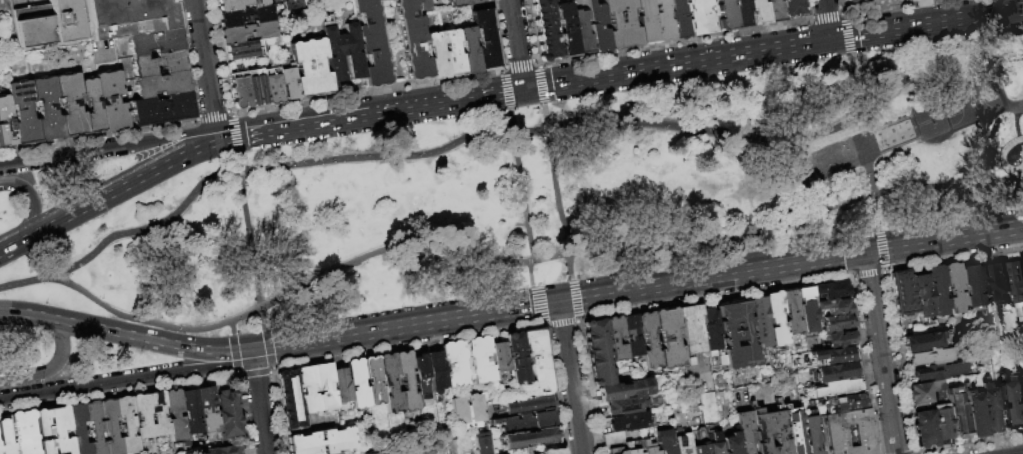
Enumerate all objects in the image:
building: (896, 0)
building: (913, 0)
building: (874, 1)
building: (464, 3)
building: (863, 3)
building: (240, 4)
building: (293, 5)
building: (794, 8)
road: (901, 8)
building: (775, 11)
building: (750, 13)
building: (727, 15)
building: (247, 16)
building: (702, 16)
road: (827, 16)
road: (844, 16)
building: (81, 17)
building: (128, 17)
road: (827, 17)
road: (812, 19)
building: (680, 20)
building: (647, 22)
building: (663, 22)
building: (48, 23)
building: (623, 24)
building: (598, 27)
building: (546, 30)
building: (567, 30)
road: (532, 31)
building: (582, 32)
building: (249, 33)
road: (499, 34)
traffic signals: (830, 36)
road: (848, 38)
building: (414, 40)
building: (153, 41)
building: (487, 41)
road: (685, 41)
building: (374, 43)
road: (515, 44)
road: (772, 44)
building: (246, 50)
building: (470, 52)
building: (345, 53)
building: (453, 54)
road: (220, 55)
building: (437, 56)
road: (186, 60)
road: (538, 63)
building: (156, 64)
road: (520, 65)
road: (934, 65)
road: (205, 67)
building: (312, 68)
road: (504, 70)
building: (290, 82)
building: (159, 84)
road: (856, 85)
road: (999, 85)
building: (274, 86)
road: (542, 86)
building: (257, 87)
traffic signals: (523, 88)
building: (241, 90)
road: (507, 92)
road: (368, 93)
building: (110, 99)
building: (69, 103)
park: (973, 103)
building: (91, 104)
building: (45, 107)
building: (160, 109)
road: (379, 110)
building: (21, 111)
road: (230, 112)
road: (212, 114)
building: (5, 123)
road: (234, 125)
road: (550, 125)
road: (97, 133)
road: (225, 134)
traffic signals: (216, 136)
road: (202, 142)
road: (236, 144)
road: (111, 146)
road: (227, 146)
road: (3, 163)
road: (239, 163)
road: (871, 171)
road: (558, 192)
road: (94, 199)
road: (519, 199)
park: (498, 201)
road: (31, 203)
road: (123, 233)
road: (952, 238)
road: (252, 249)
road: (880, 249)
road: (873, 251)
traffic signals: (865, 252)
road: (952, 259)
road: (529, 260)
road: (866, 263)
road: (867, 274)
building: (1017, 283)
building: (1002, 284)
building: (956, 287)
building: (972, 288)
building: (987, 288)
building: (828, 289)
building: (939, 290)
building: (904, 294)
building: (923, 296)
road: (159, 297)
road: (711, 297)
road: (573, 300)
road: (558, 301)
traffic signals: (558, 302)
road: (536, 305)
building: (832, 306)
building: (805, 308)
building: (790, 311)
building: (774, 318)
building: (836, 321)
road: (558, 322)
building: (759, 323)
building: (690, 327)
road: (231, 328)
road: (125, 334)
building: (630, 334)
building: (736, 334)
building: (667, 338)
building: (711, 338)
building: (839, 338)
building: (648, 340)
building: (614, 341)
building: (923, 343)
road: (268, 346)
building: (597, 351)
traffic signals: (251, 352)
road: (233, 353)
road: (364, 353)
building: (833, 354)
building: (498, 357)
building: (515, 357)
building: (933, 358)
building: (479, 359)
building: (535, 361)
road: (899, 361)
building: (453, 363)
road: (862, 363)
road: (55, 364)
road: (882, 364)
road: (272, 367)
building: (434, 369)
building: (835, 371)
building: (942, 371)
road: (269, 372)
road: (252, 374)
building: (418, 374)
road: (236, 375)
road: (569, 378)
road: (126, 379)
building: (371, 380)
building: (404, 380)
building: (388, 382)
building: (356, 383)
building: (340, 386)
road: (586, 387)
building: (837, 388)
road: (552, 389)
building: (623, 389)
building: (303, 392)
building: (926, 392)
road: (118, 394)
building: (1019, 399)
road: (259, 402)
building: (844, 402)
building: (526, 405)
building: (623, 405)
building: (1007, 405)
building: (990, 409)
building: (207, 410)
building: (466, 410)
building: (192, 413)
building: (229, 414)
building: (959, 414)
building: (159, 415)
road: (242, 415)
building: (975, 415)
building: (176, 417)
building: (143, 418)
building: (524, 421)
building: (626, 421)
building: (944, 424)
building: (128, 425)
building: (112, 426)
building: (97, 427)
building: (79, 429)
building: (926, 429)
building: (792, 430)
building: (55, 431)
building: (743, 431)
building: (767, 431)
building: (19, 434)
building: (810, 434)
building: (835, 435)
building: (527, 437)
building: (612, 437)
building: (320, 441)
building: (663, 441)
building: (698, 442)
building: (711, 442)
building: (479, 443)
building: (729, 443)
building: (680, 444)
road: (966, 445)
building: (646, 446)
building: (629, 449)
building: (223, 450)
building: (524, 450)
building: (615, 450)
building: (549, 451)
building: (335, 453)
building: (371, 453)

